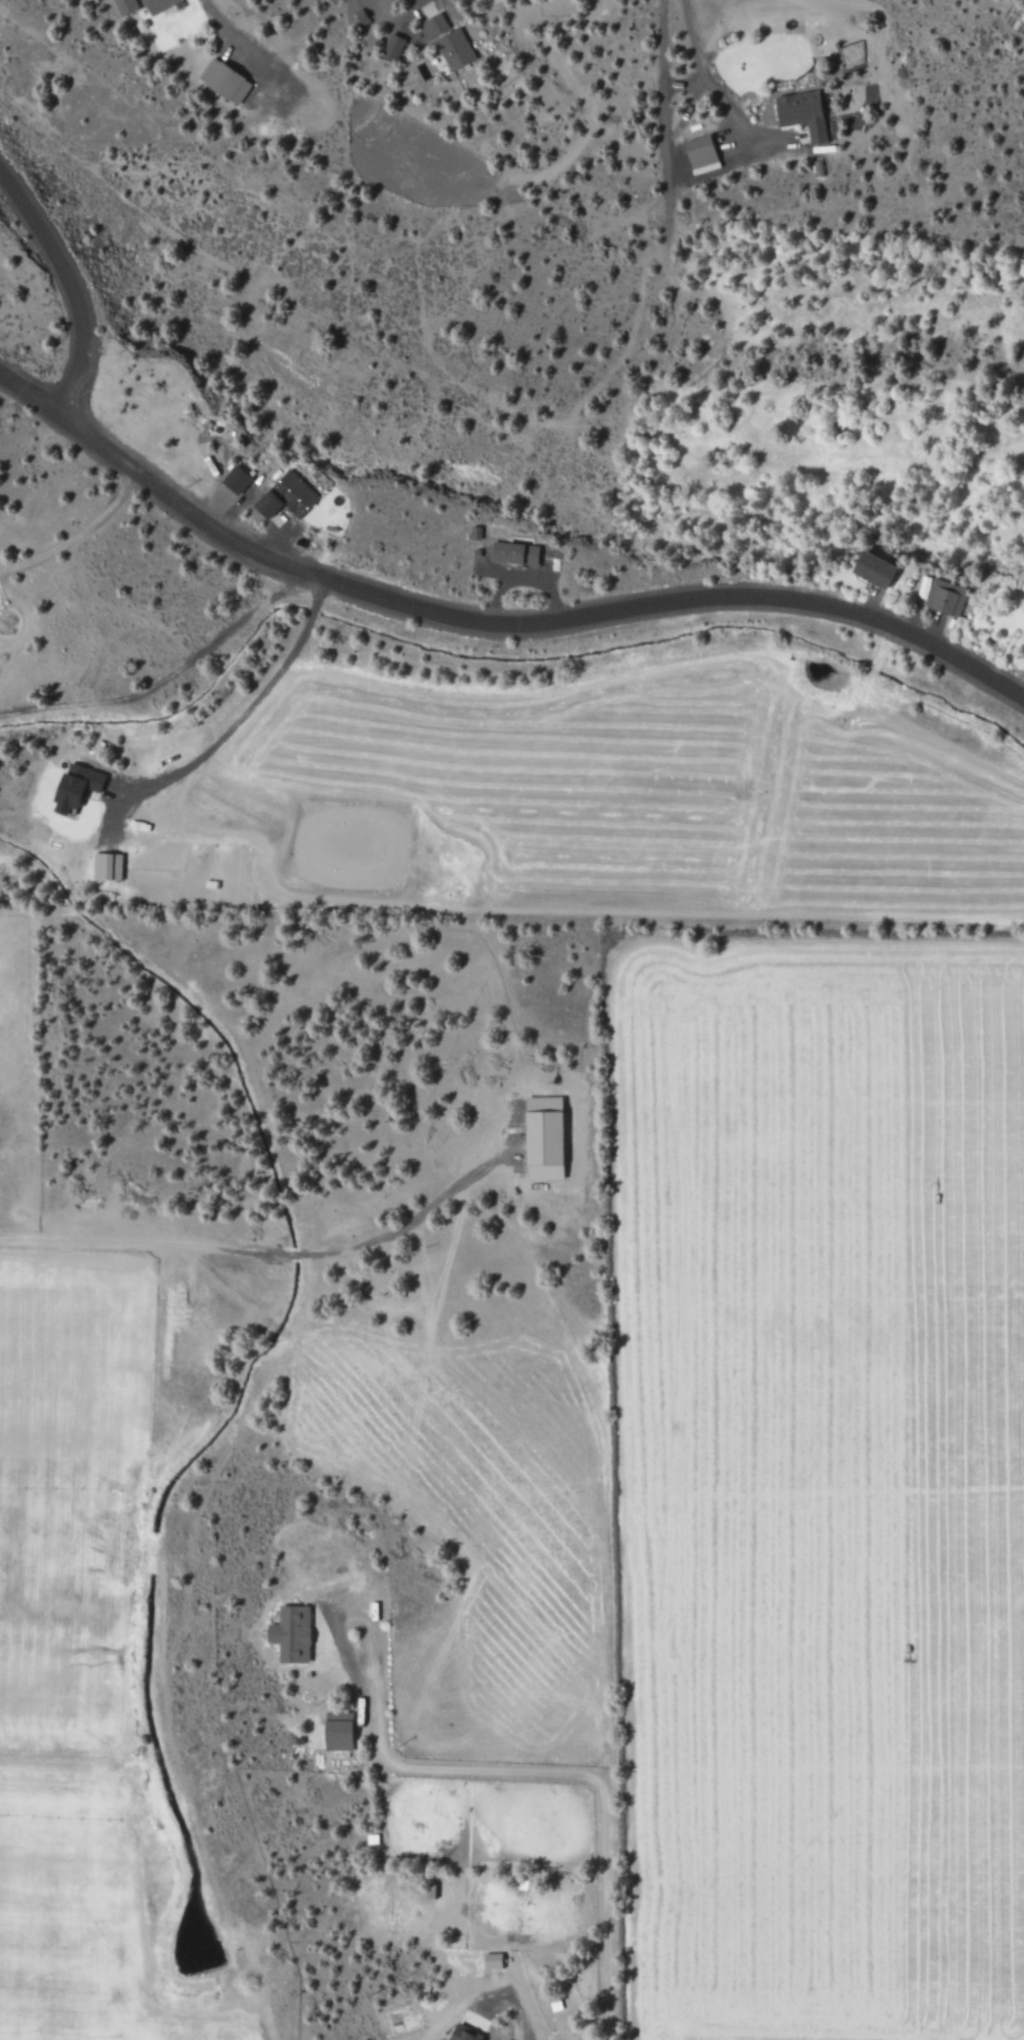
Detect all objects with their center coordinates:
building: (155, 5)
building: (122, 6)
building: (445, 41)
building: (390, 48)
building: (222, 81)
building: (799, 113)
building: (697, 153)
road: (68, 287)
building: (233, 480)
building: (283, 496)
building: (512, 553)
building: (870, 569)
building: (940, 596)
road: (490, 623)
road: (247, 712)
building: (72, 786)
building: (104, 866)
building: (540, 1138)
crop: (760, 1298)
crop: (83, 1609)
building: (287, 1633)
building: (334, 1731)
building: (489, 1961)
building: (460, 2033)

